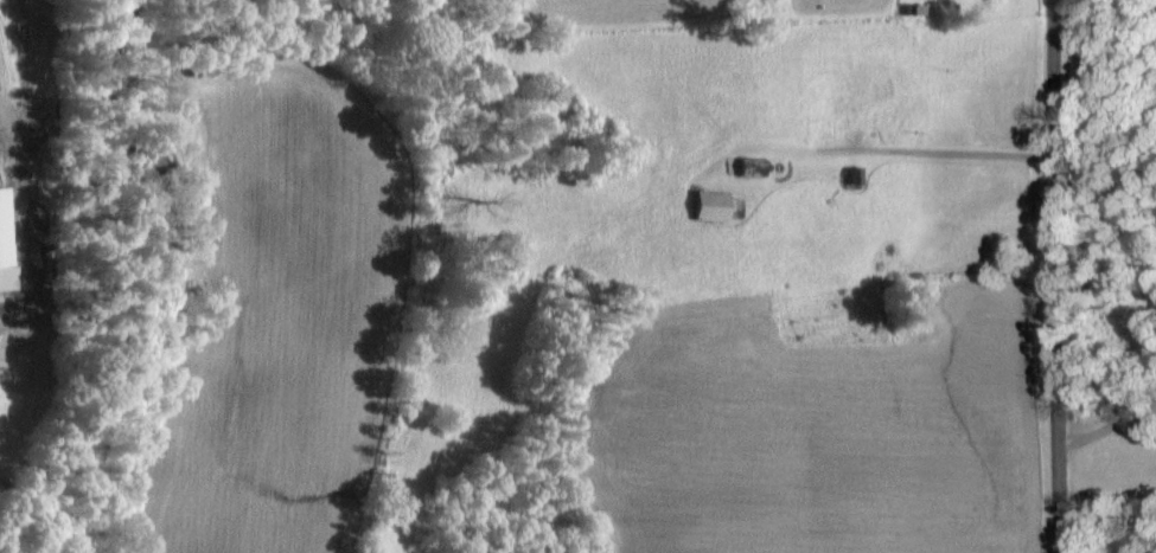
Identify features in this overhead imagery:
road: (962, 152)
building: (717, 207)
building: (7, 242)
road: (1073, 276)

